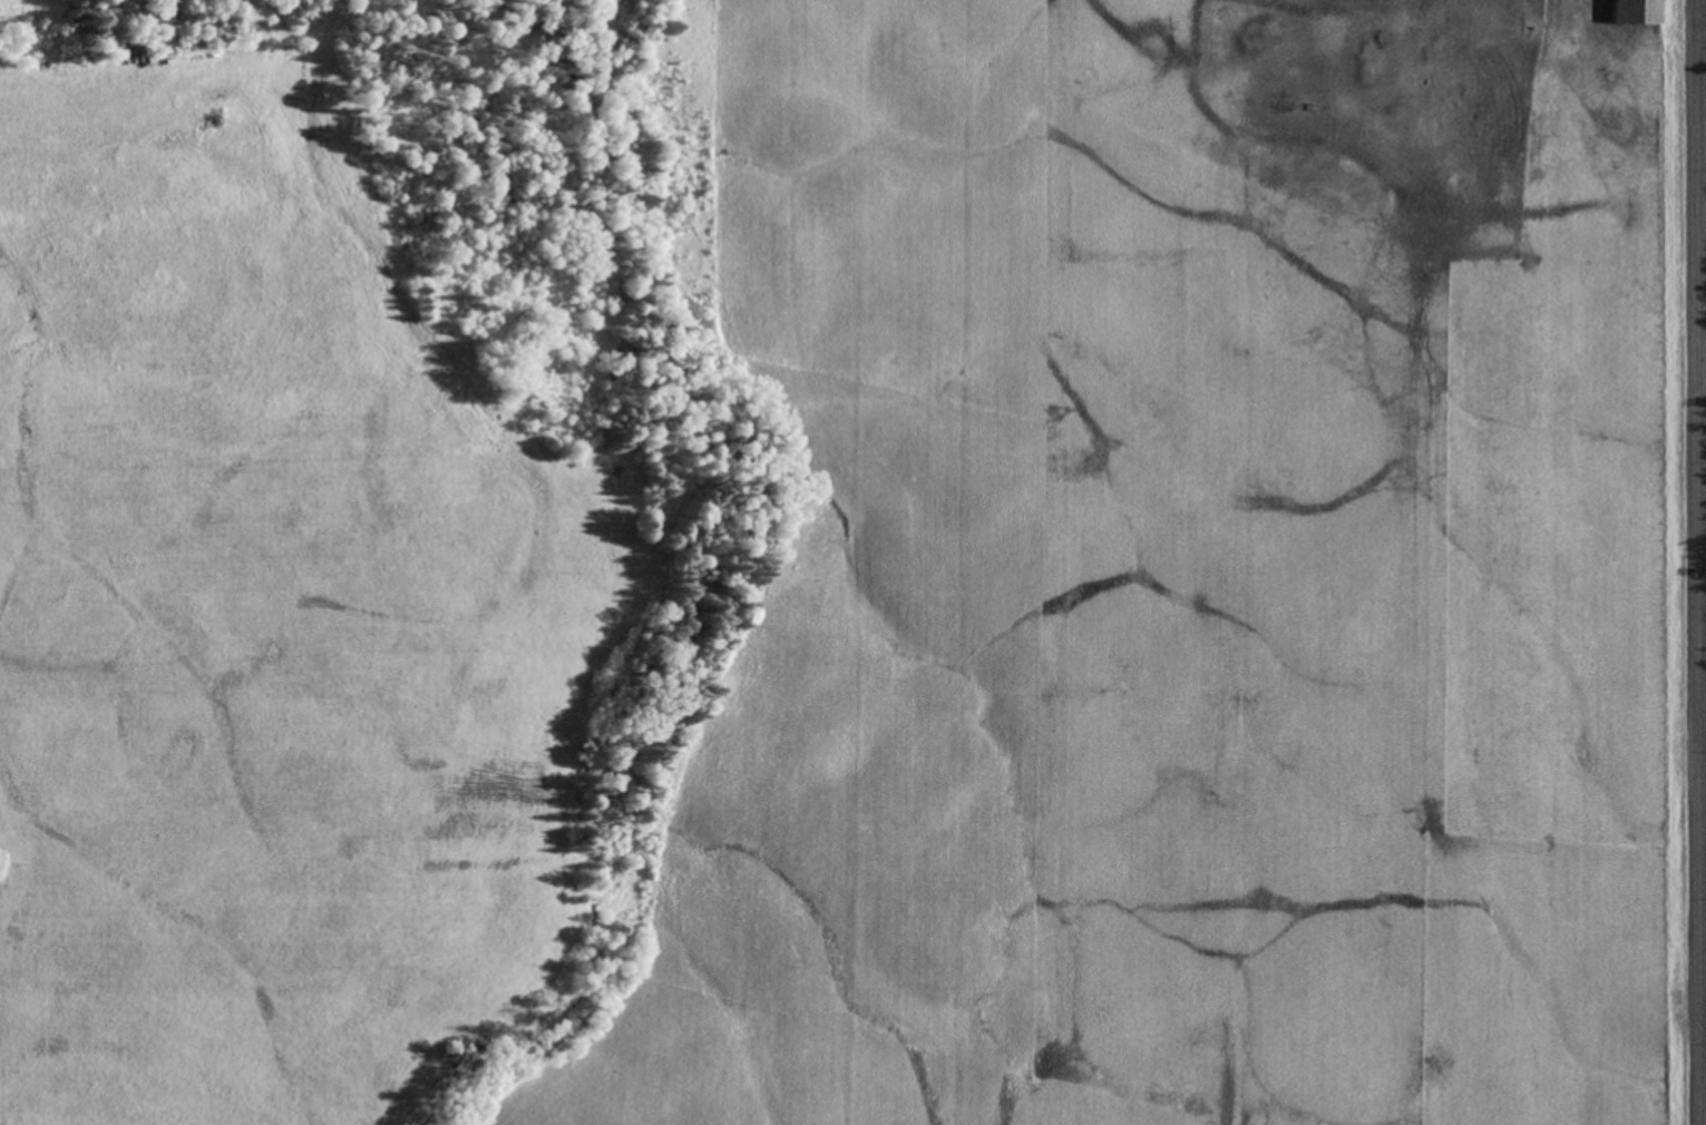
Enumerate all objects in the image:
building: (1632, 12)
road: (1698, 562)

